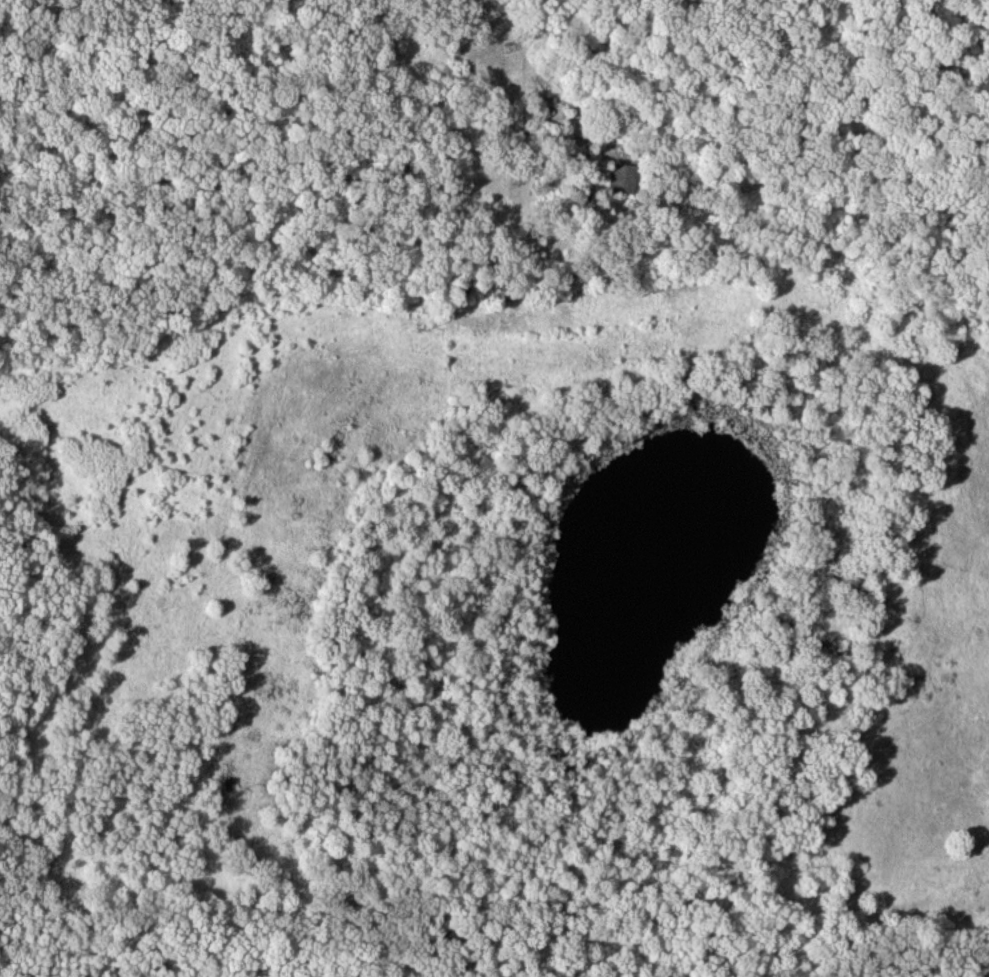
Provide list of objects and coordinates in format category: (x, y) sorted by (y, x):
road: (785, 154)
building: (622, 179)

